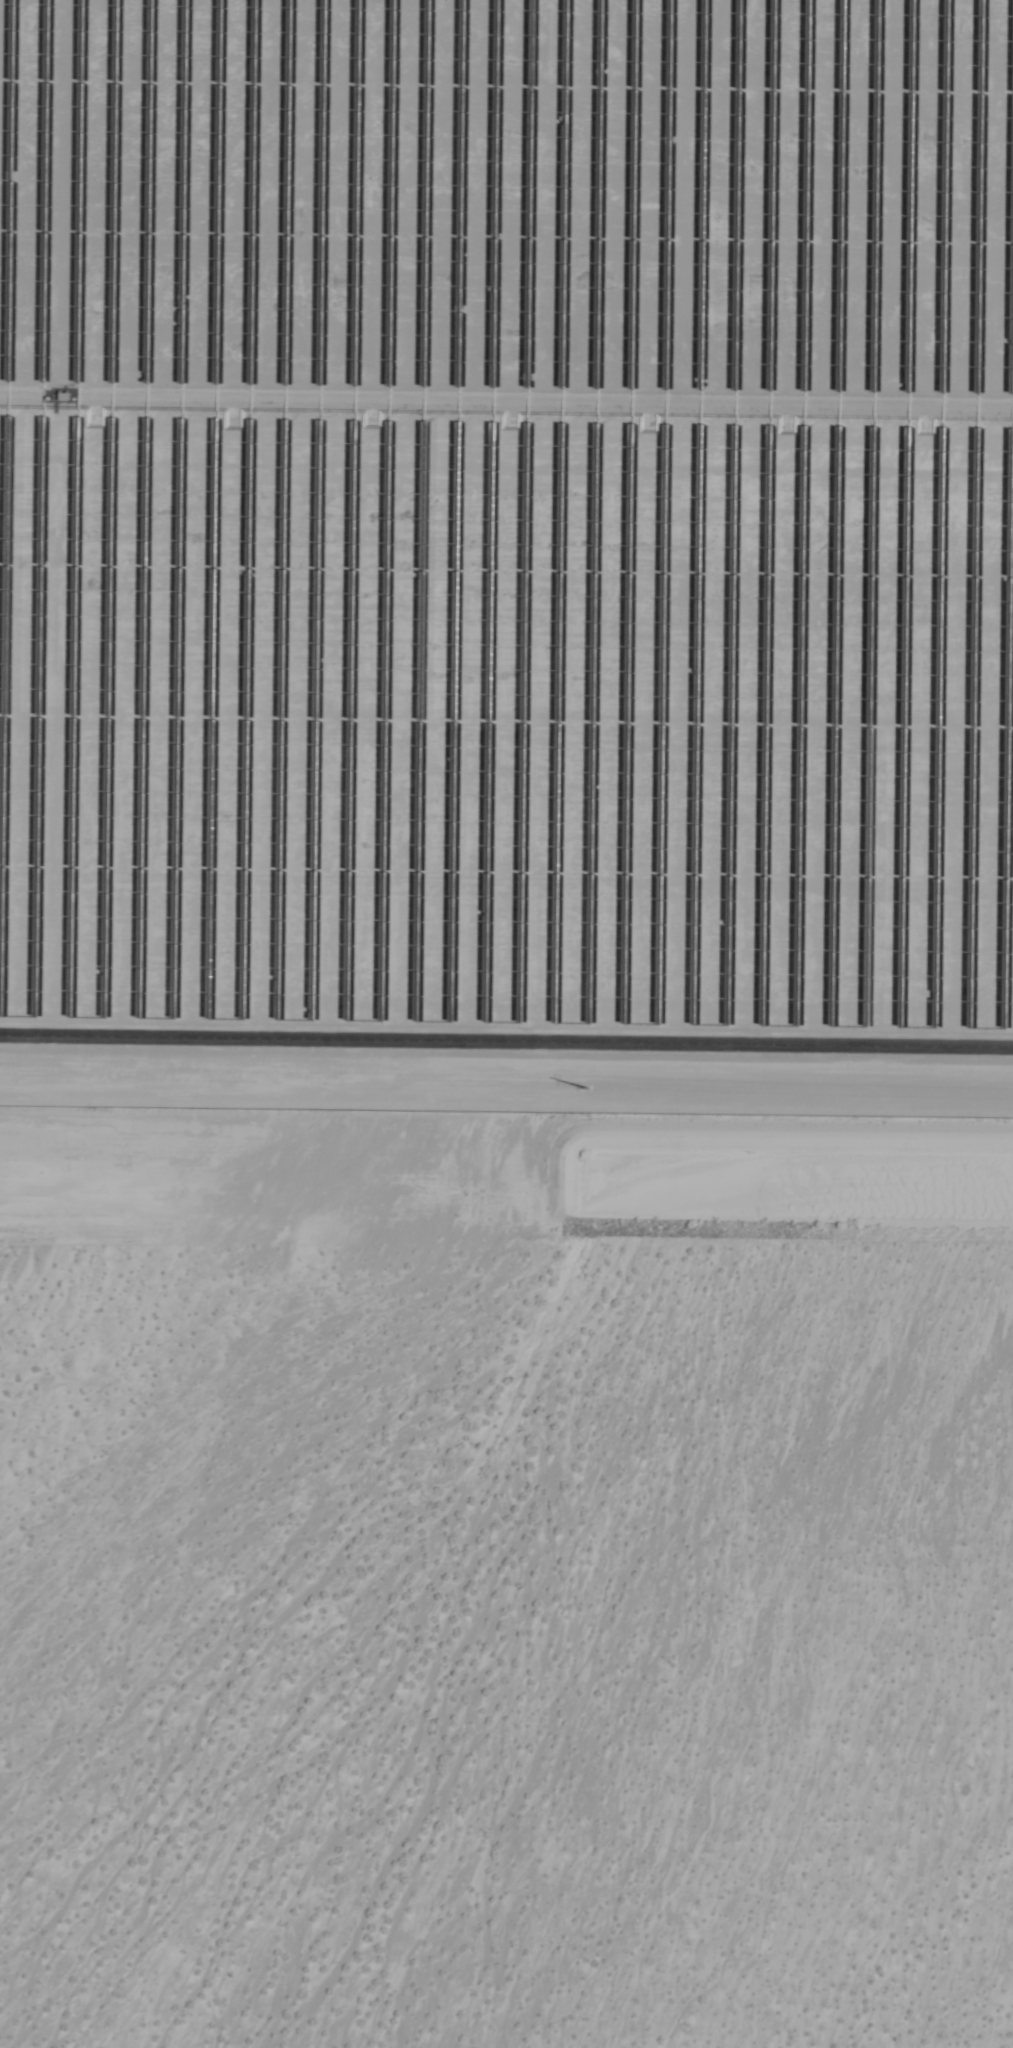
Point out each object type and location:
solar farm: (507, 556)
road: (506, 1039)
power tower: (584, 1087)

